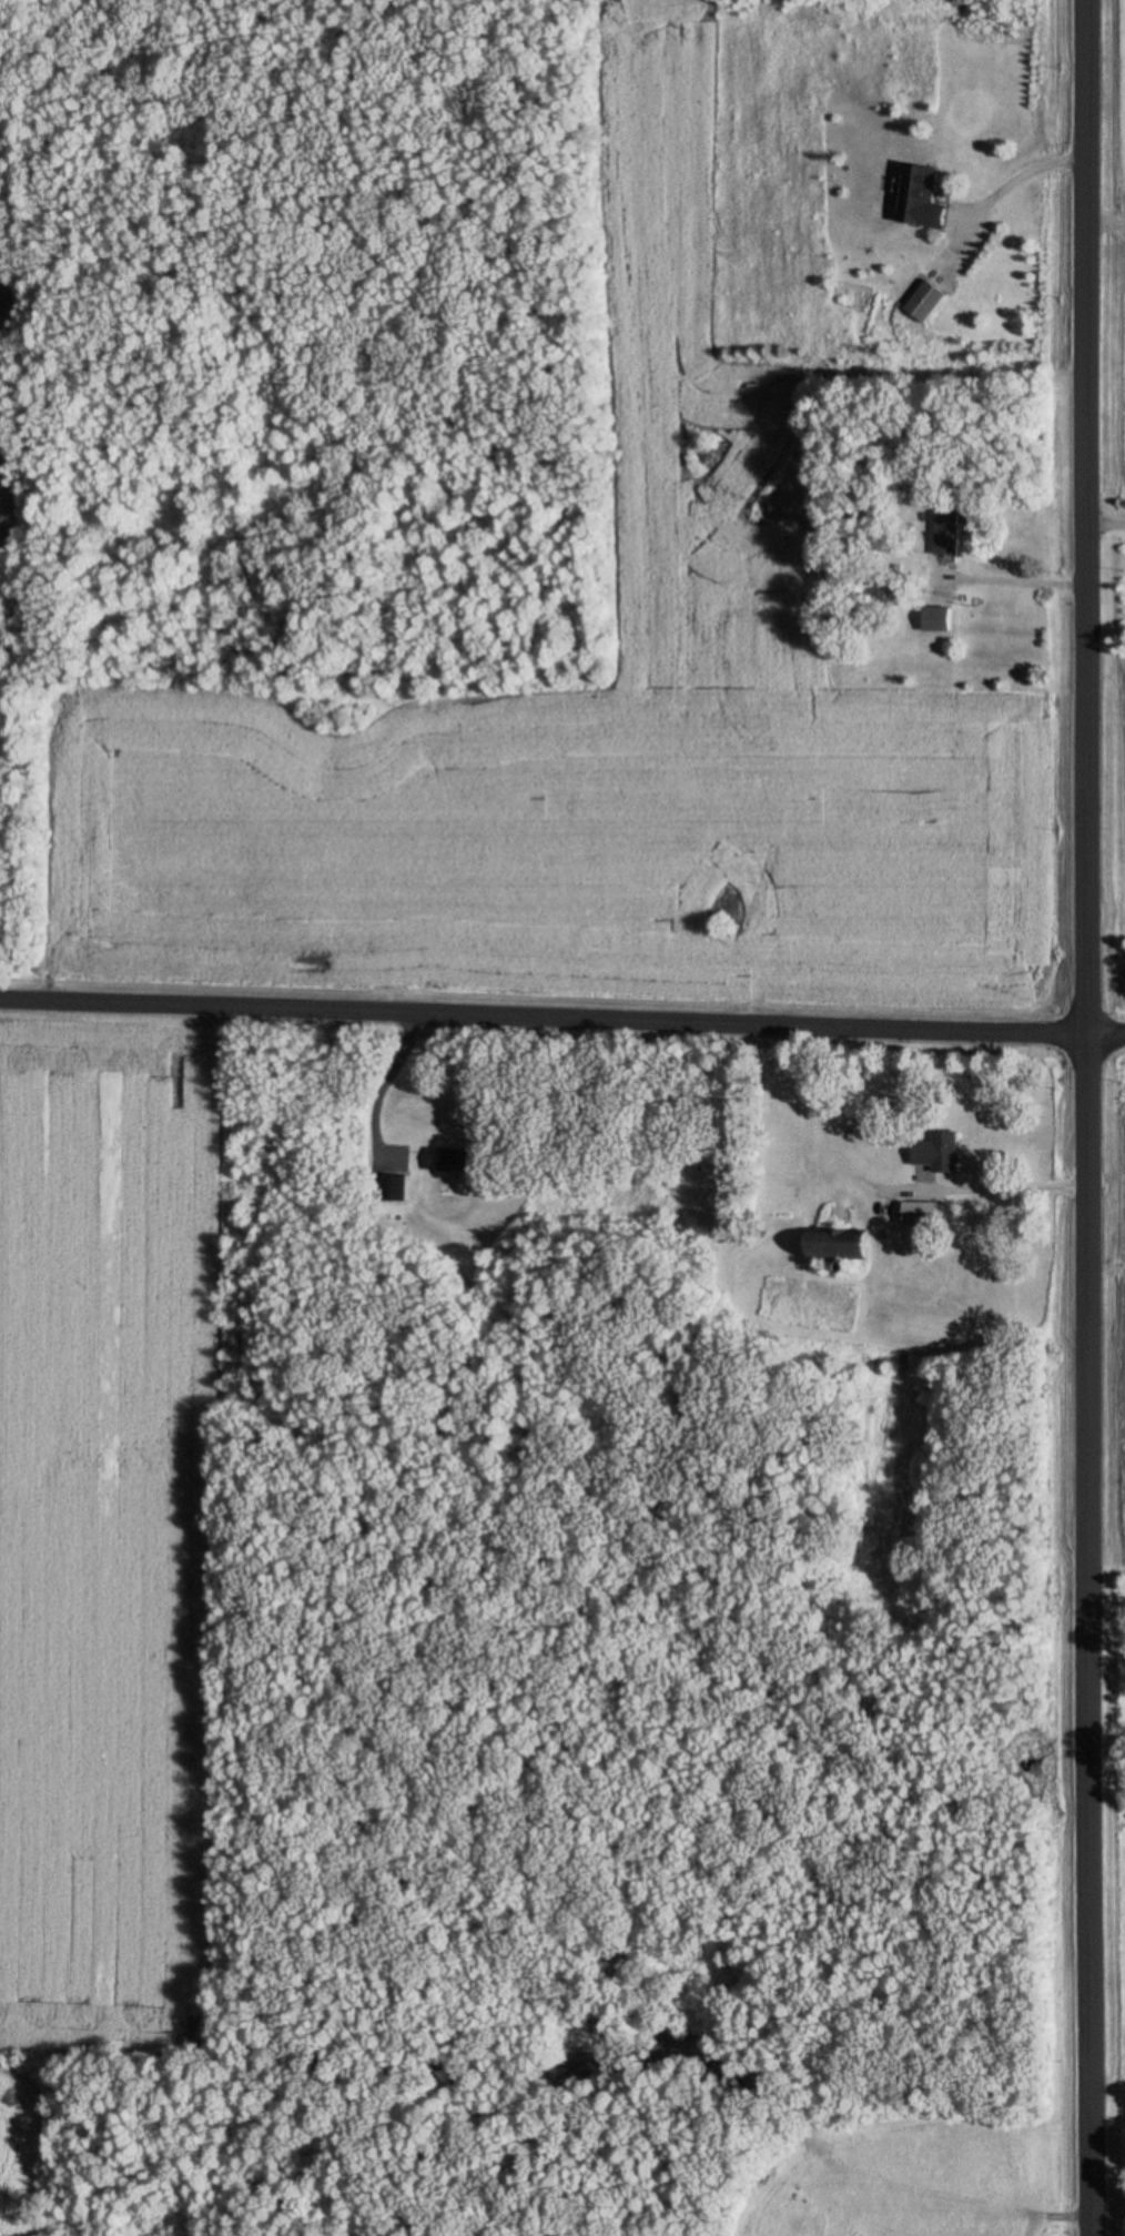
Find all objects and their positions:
building: (919, 199)
building: (924, 303)
road: (1097, 524)
building: (945, 532)
building: (935, 620)
road: (561, 1042)
road: (1071, 1117)
building: (939, 1154)
building: (448, 1162)
building: (394, 1190)
building: (921, 1215)
building: (835, 1246)
building: (578, 2036)

